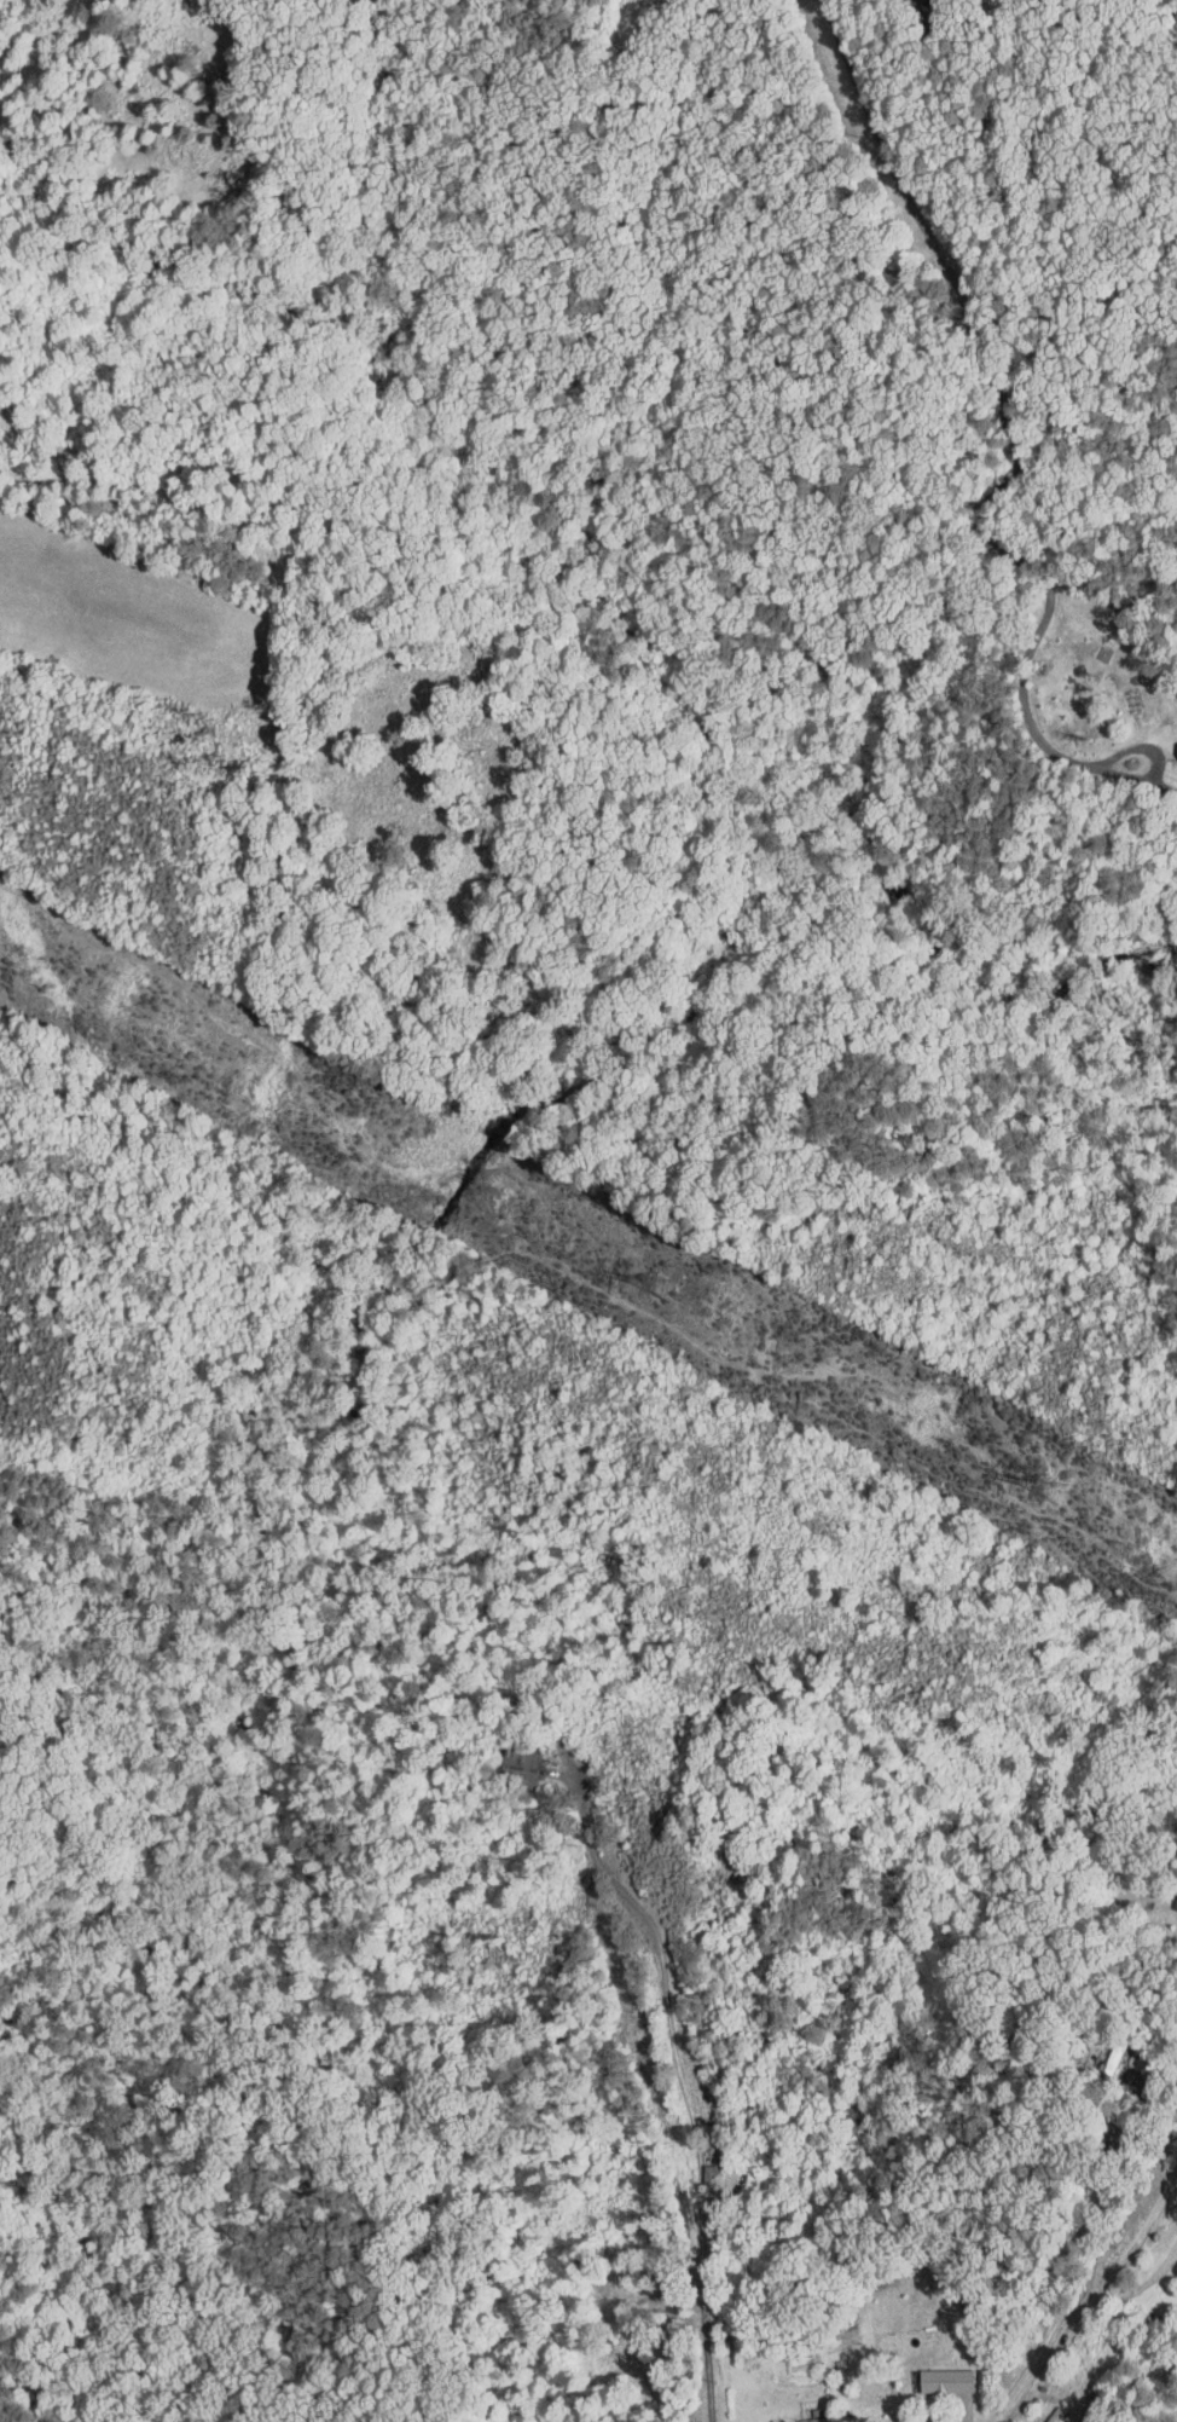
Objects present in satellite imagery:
road: (847, 48)
road: (985, 530)
building: (1172, 739)
power tower: (667, 1290)
power tower: (1059, 1492)
building: (1167, 1897)
building: (1101, 2051)
road: (679, 2075)
building: (705, 2170)
road: (1086, 2302)
building: (930, 2374)

